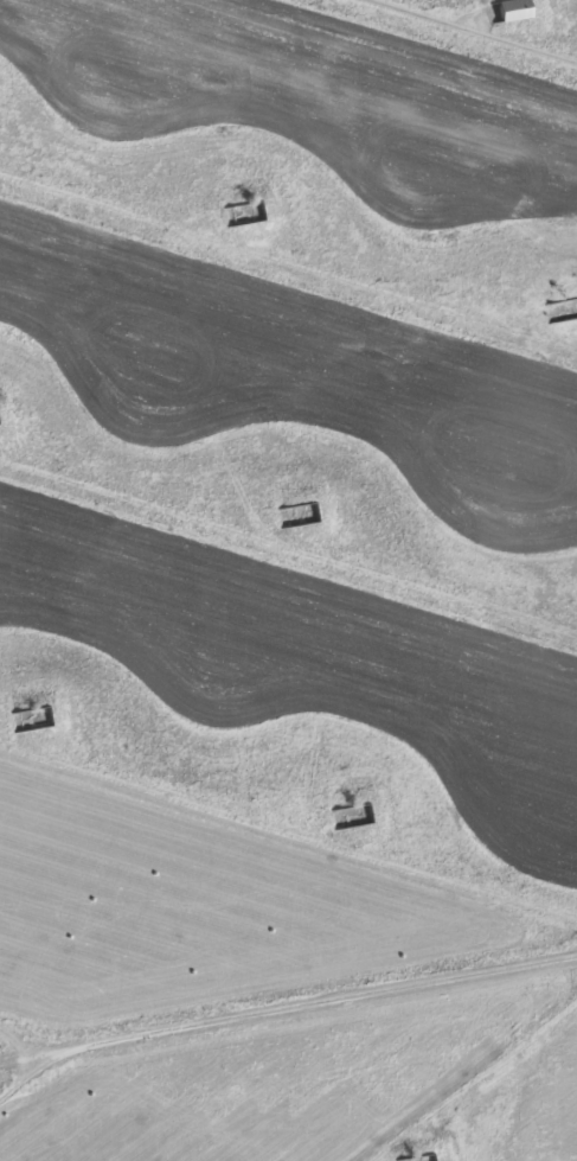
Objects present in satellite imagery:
building: (512, 9)
road: (469, 31)
road: (288, 262)
building: (297, 515)
road: (288, 567)
building: (32, 719)
building: (352, 816)
road: (288, 838)
road: (287, 1008)
road: (40, 1059)
road: (40, 1080)
road: (479, 1087)
building: (415, 1157)

